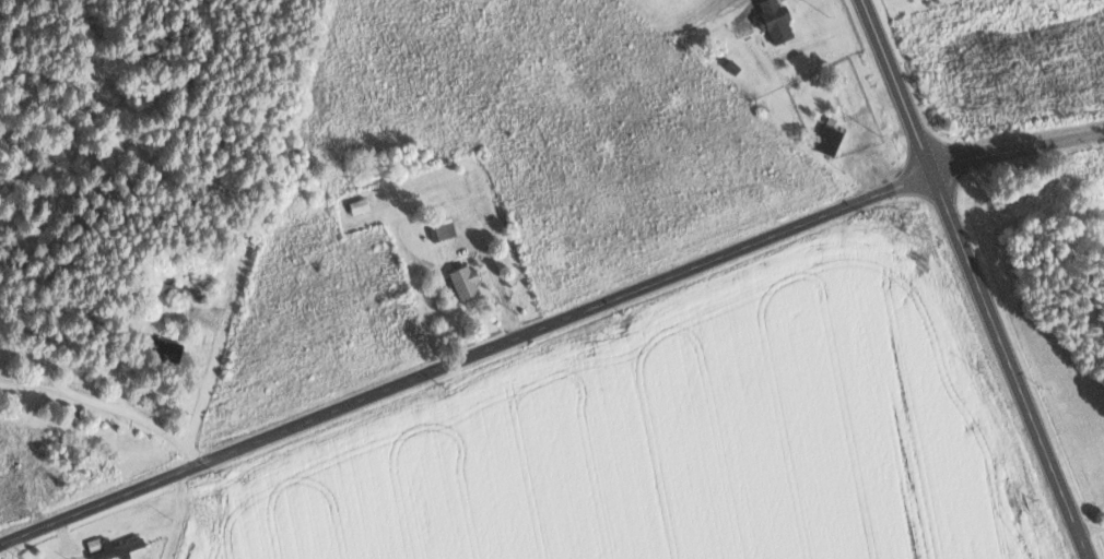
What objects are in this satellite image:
building: (776, 19)
building: (830, 139)
road: (1014, 147)
building: (360, 205)
building: (443, 228)
road: (974, 278)
building: (467, 281)
road: (39, 318)
road: (230, 324)
building: (165, 347)
road: (465, 360)
road: (109, 402)
building: (114, 547)

